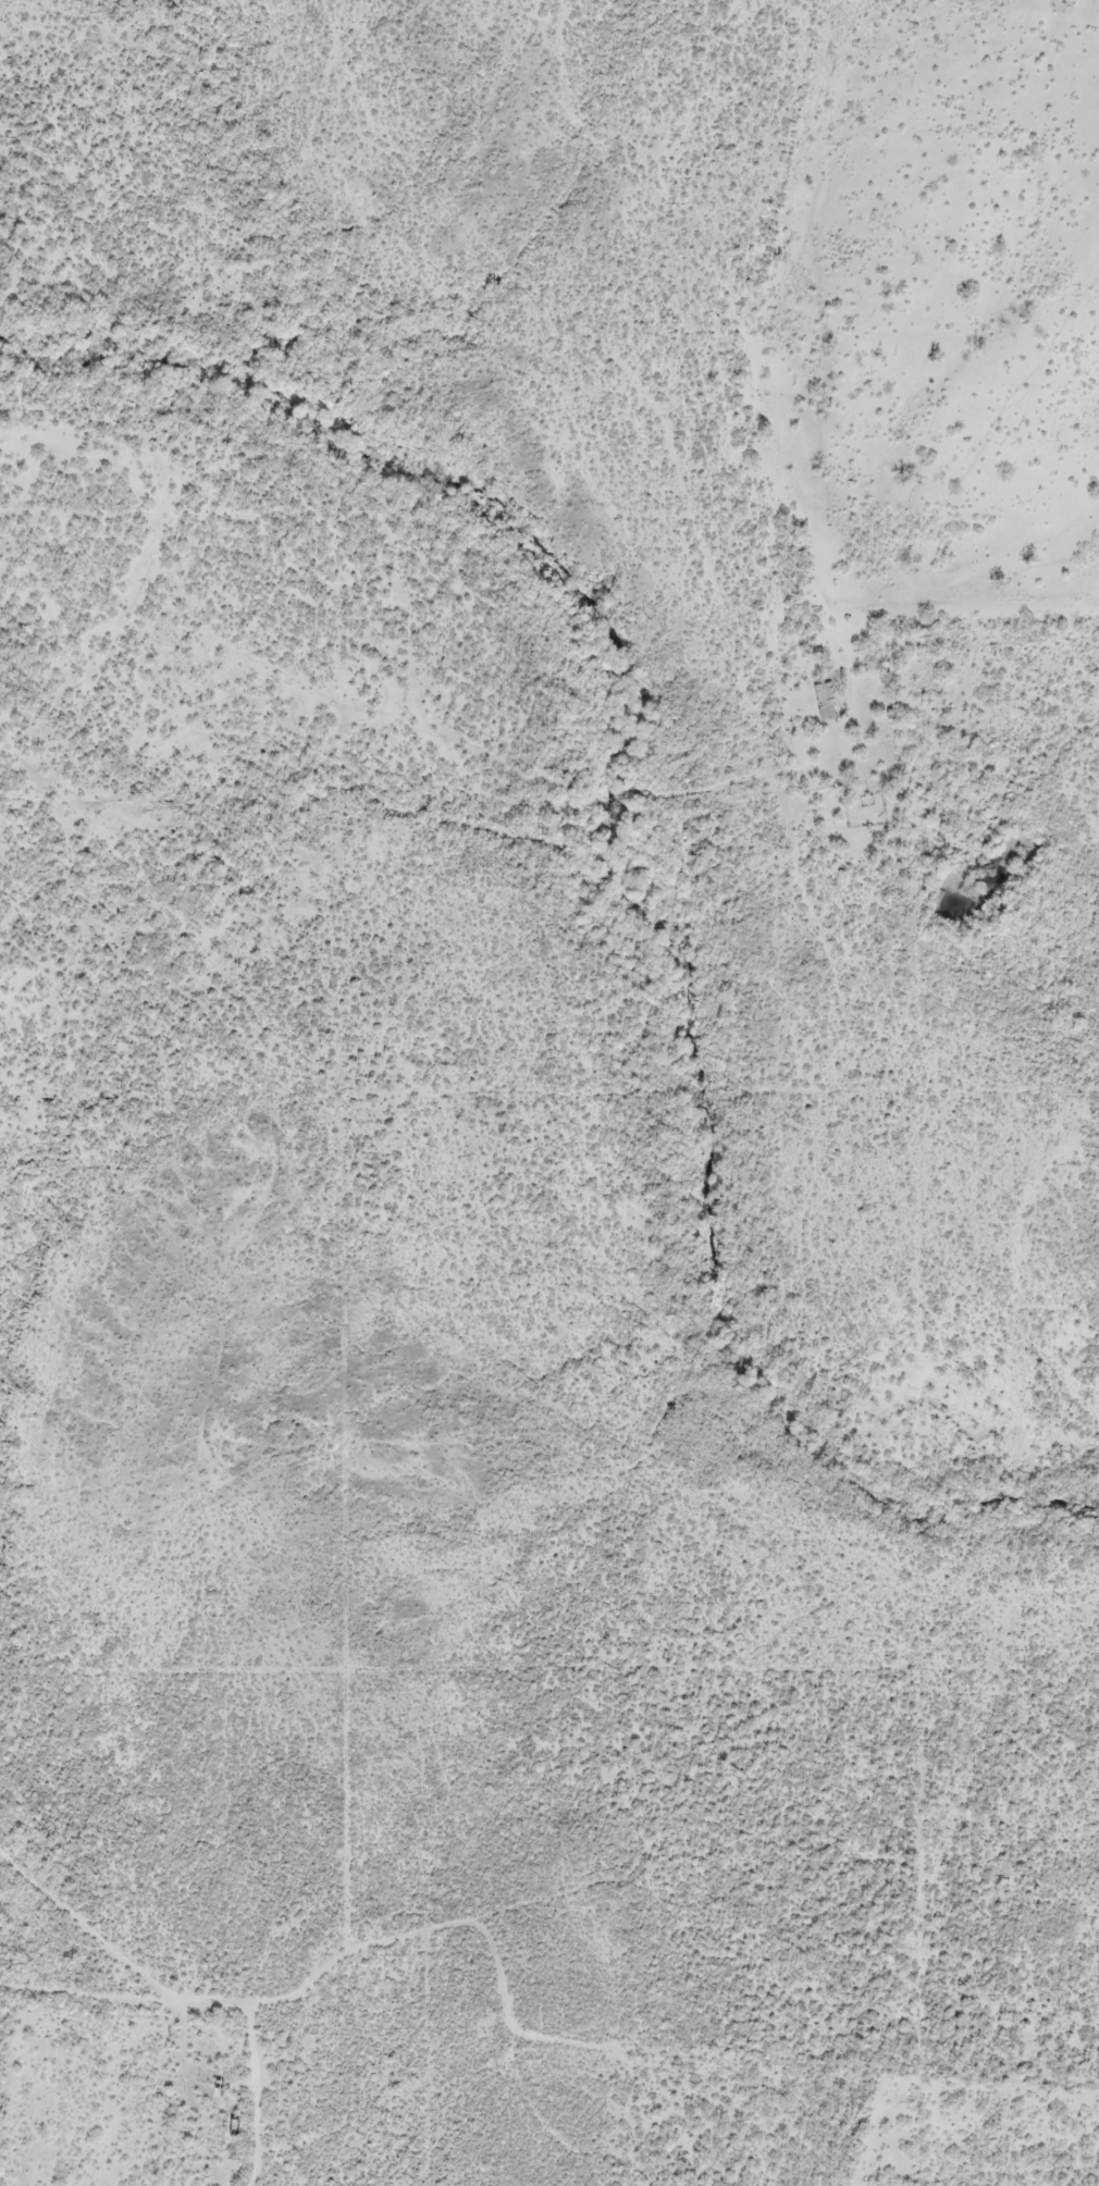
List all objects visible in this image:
road: (156, 1992)

